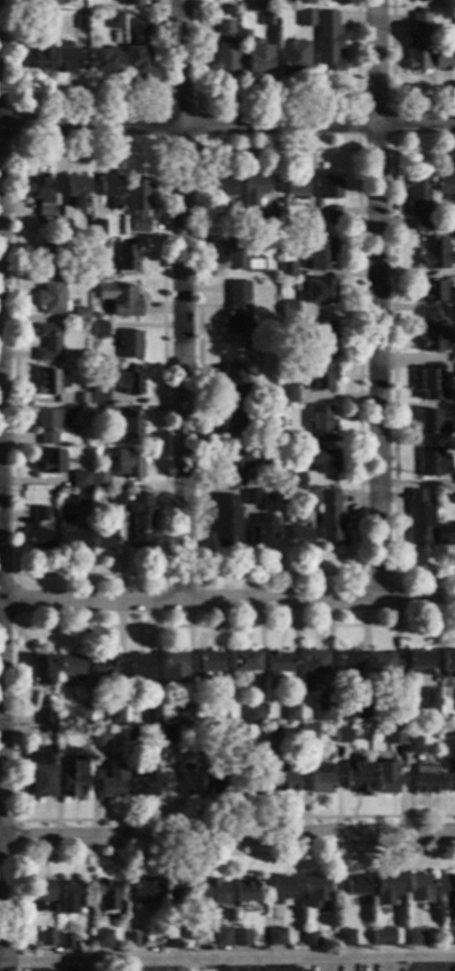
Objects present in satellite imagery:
building: (305, 1)
building: (425, 1)
building: (50, 3)
building: (128, 3)
building: (266, 4)
building: (267, 19)
building: (305, 19)
building: (453, 20)
building: (113, 21)
building: (79, 23)
building: (328, 43)
building: (418, 44)
building: (137, 49)
building: (38, 50)
building: (225, 50)
building: (443, 57)
building: (292, 59)
building: (64, 60)
building: (100, 63)
building: (257, 63)
road: (227, 125)
building: (294, 186)
building: (443, 187)
building: (75, 191)
building: (252, 191)
building: (109, 192)
building: (39, 195)
building: (223, 196)
building: (329, 199)
building: (137, 203)
building: (418, 203)
building: (267, 224)
building: (306, 227)
building: (61, 228)
building: (452, 228)
building: (96, 229)
building: (96, 245)
building: (51, 254)
building: (320, 255)
building: (435, 256)
building: (240, 257)
building: (125, 259)
building: (286, 271)
building: (78, 274)
building: (319, 292)
building: (431, 292)
building: (48, 298)
road: (377, 299)
building: (120, 300)
road: (181, 300)
building: (236, 309)
building: (454, 309)
building: (288, 312)
building: (78, 316)
building: (93, 317)
building: (98, 330)
building: (430, 339)
building: (318, 340)
building: (46, 344)
building: (128, 345)
building: (247, 350)
building: (319, 378)
building: (126, 380)
building: (429, 382)
building: (233, 383)
building: (58, 389)
building: (287, 395)
building: (98, 397)
building: (107, 412)
building: (269, 412)
building: (320, 424)
building: (430, 424)
building: (235, 425)
building: (49, 426)
building: (128, 426)
building: (322, 462)
building: (48, 464)
building: (238, 465)
building: (434, 466)
building: (127, 467)
building: (79, 480)
building: (98, 481)
building: (292, 481)
building: (453, 497)
building: (250, 498)
building: (308, 498)
building: (115, 499)
building: (80, 500)
building: (38, 515)
building: (417, 520)
building: (329, 521)
building: (139, 523)
building: (225, 524)
building: (67, 535)
building: (261, 535)
building: (445, 536)
building: (297, 538)
building: (35, 539)
building: (101, 541)
road: (227, 599)
building: (243, 663)
building: (417, 664)
building: (346, 665)
building: (447, 665)
building: (207, 666)
building: (276, 666)
building: (381, 666)
building: (68, 668)
building: (310, 669)
building: (138, 670)
building: (100, 671)
building: (172, 671)
building: (39, 672)
building: (221, 694)
building: (428, 700)
building: (323, 712)
building: (359, 713)
building: (289, 714)
building: (183, 716)
building: (252, 716)
building: (79, 717)
building: (150, 717)
building: (114, 718)
building: (44, 719)
building: (270, 734)
building: (306, 734)
building: (393, 734)
building: (236, 735)
building: (132, 736)
building: (198, 736)
building: (166, 737)
building: (340, 737)
building: (454, 737)
building: (97, 739)
building: (411, 746)
building: (397, 758)
building: (39, 774)
building: (354, 776)
building: (73, 779)
building: (423, 780)
building: (319, 781)
building: (110, 782)
building: (283, 782)
building: (144, 783)
building: (210, 783)
building: (449, 784)
building: (180, 785)
building: (384, 785)
road: (0, 786)
building: (250, 787)
road: (227, 840)
building: (355, 886)
building: (277, 890)
building: (384, 890)
building: (417, 890)
building: (143, 892)
building: (173, 892)
building: (313, 892)
building: (448, 892)
building: (214, 893)
building: (243, 893)
building: (38, 895)
building: (67, 896)
building: (106, 896)
building: (220, 938)
building: (274, 938)
building: (379, 938)
building: (447, 938)
building: (241, 939)
building: (344, 939)
building: (414, 939)
building: (46, 940)
building: (100, 940)
building: (308, 940)
building: (131, 941)
building: (168, 942)
building: (65, 944)
road: (228, 958)
road: (446, 963)
road: (414, 964)
building: (41, 970)
building: (81, 970)
building: (164, 970)
building: (243, 970)
building: (283, 970)

